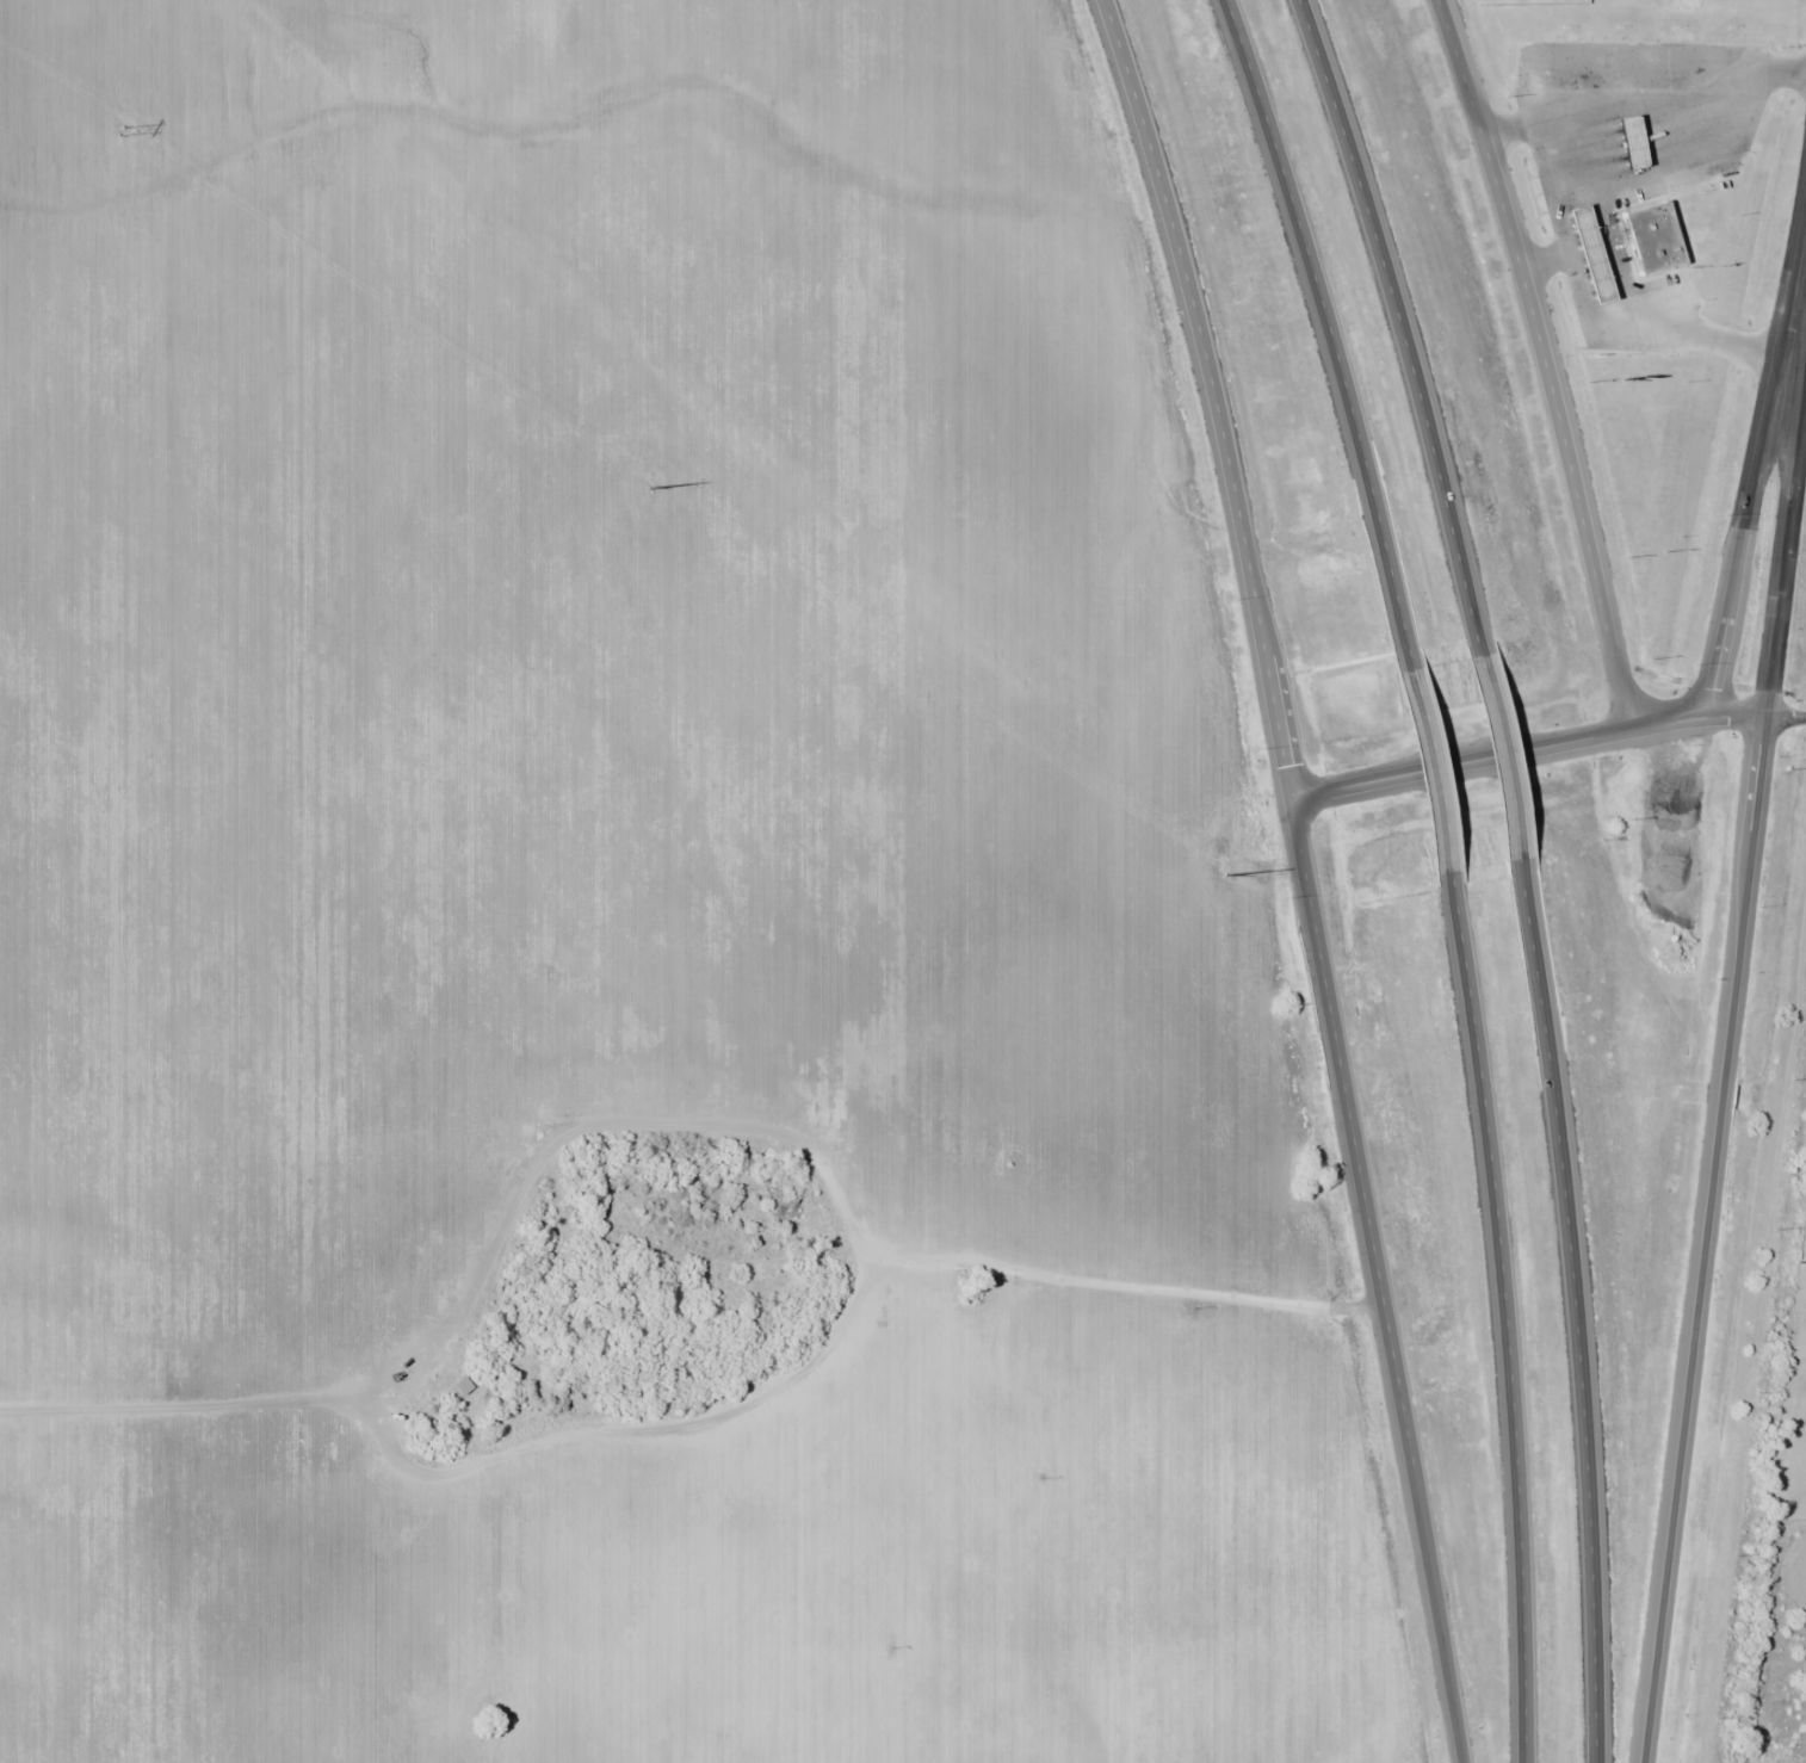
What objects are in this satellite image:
power tower: (122, 130)
building: (1627, 141)
building: (1650, 237)
building: (1587, 253)
road: (1399, 326)
road: (1328, 330)
road: (1545, 360)
road: (1212, 394)
road: (1802, 401)
road: (1756, 443)
power tower: (648, 488)
road: (1782, 528)
road: (1733, 715)
road: (1783, 715)
road: (1497, 754)
road: (1498, 759)
road: (1430, 769)
power tower: (1226, 874)
road: (1703, 1239)
power tower: (1800, 1262)
road: (1377, 1279)
road: (1573, 1310)
road: (1504, 1314)
railway: (1756, 1347)

